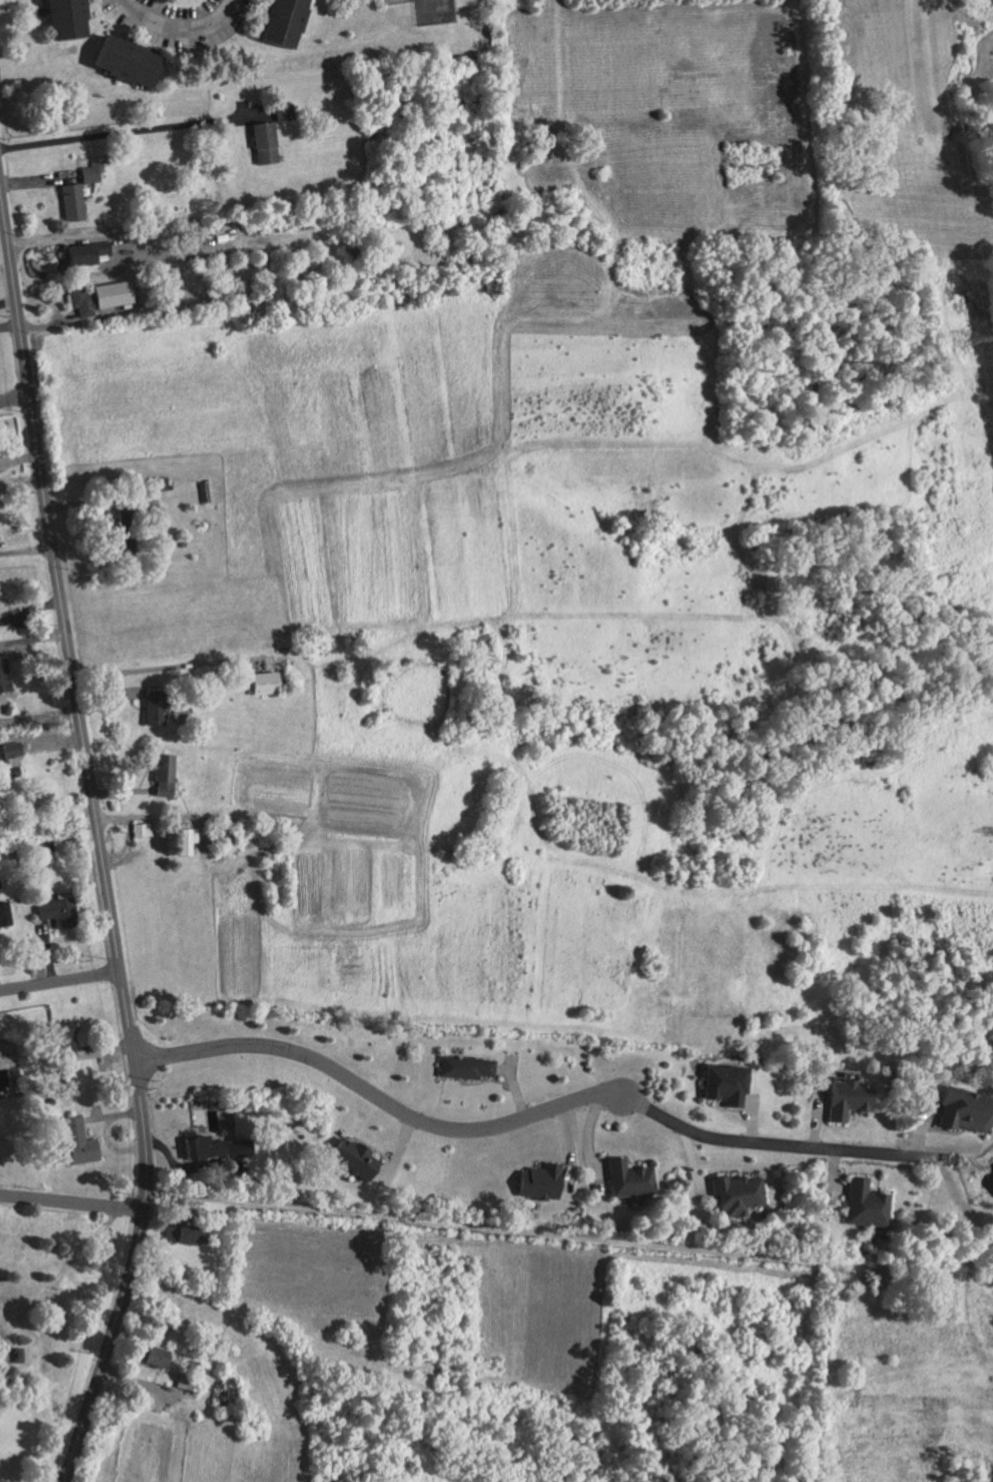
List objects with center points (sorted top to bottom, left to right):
park: (432, 11)
building: (63, 18)
building: (280, 22)
road: (180, 25)
building: (124, 60)
building: (281, 111)
road: (124, 133)
building: (262, 142)
building: (90, 172)
building: (70, 201)
road: (84, 233)
building: (85, 252)
building: (98, 296)
power tower: (966, 339)
road: (13, 398)
building: (121, 541)
road: (25, 552)
road: (154, 666)
building: (3, 676)
building: (262, 683)
building: (152, 707)
road: (40, 737)
building: (8, 759)
building: (162, 775)
building: (140, 830)
road: (99, 847)
building: (56, 911)
building: (4, 914)
road: (60, 981)
building: (464, 1067)
building: (723, 1084)
road: (375, 1097)
building: (846, 1099)
building: (962, 1115)
building: (77, 1143)
road: (778, 1145)
building: (212, 1149)
building: (351, 1158)
building: (627, 1180)
building: (538, 1182)
building: (735, 1194)
road: (71, 1202)
building: (864, 1206)
building: (186, 1235)
road: (584, 1248)
park: (55, 1324)
road: (8, 1354)
building: (153, 1355)
building: (143, 1372)
building: (186, 1382)
building: (221, 1394)

